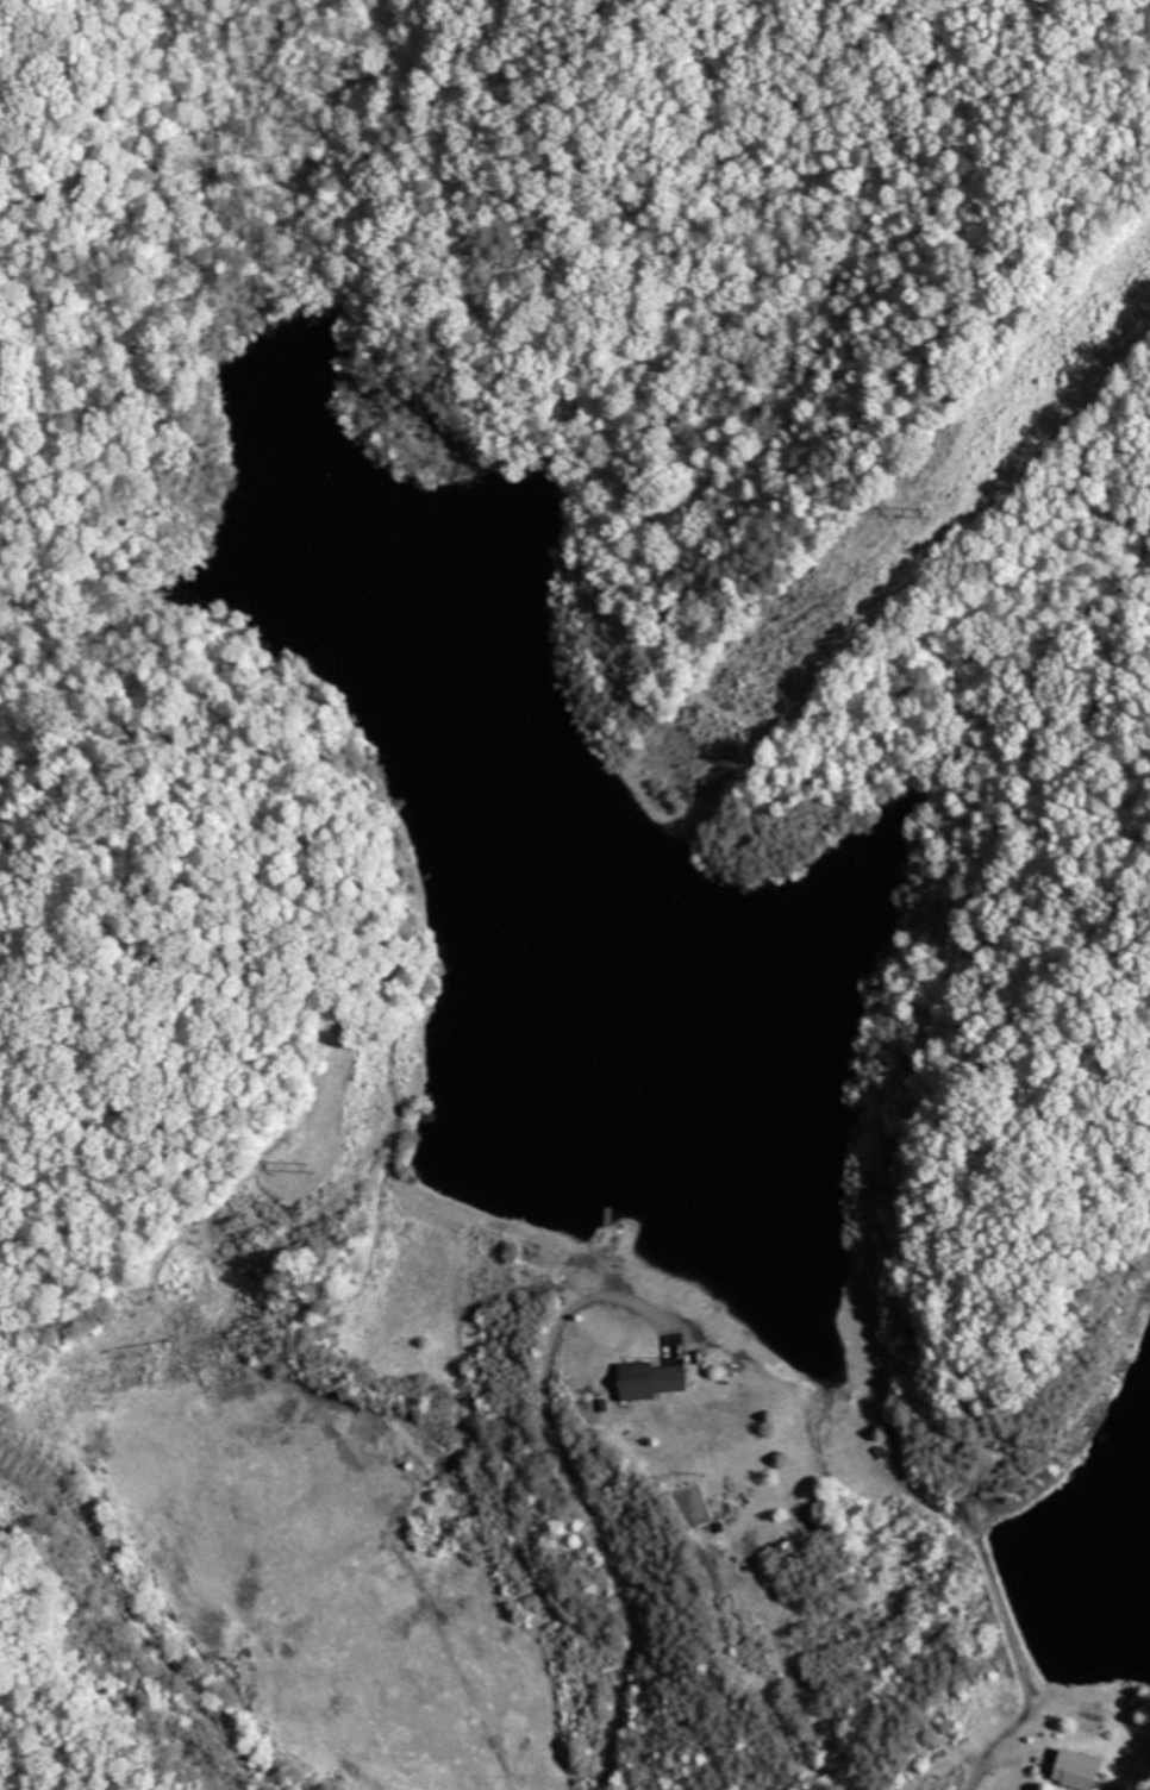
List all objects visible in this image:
building: (661, 1379)
building: (1087, 1770)

